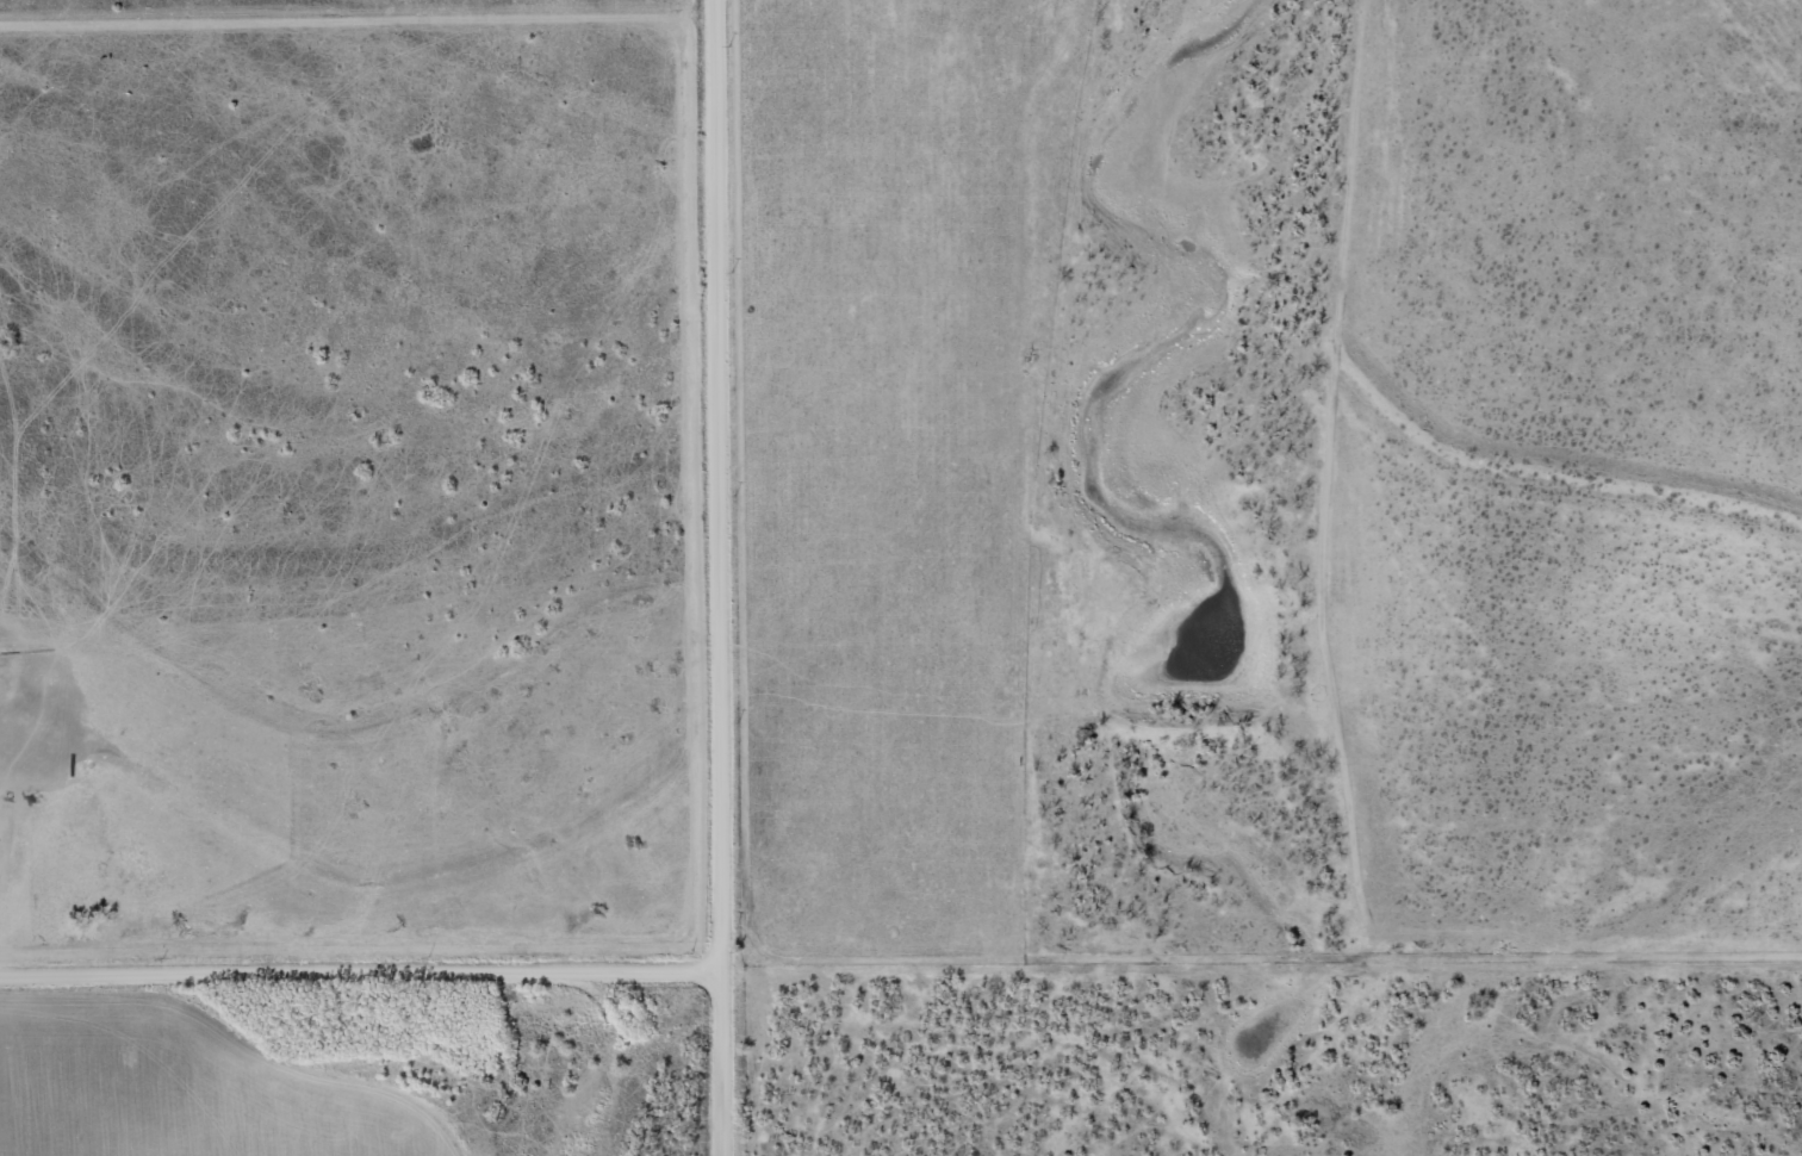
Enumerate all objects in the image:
road: (722, 577)
road: (361, 967)

